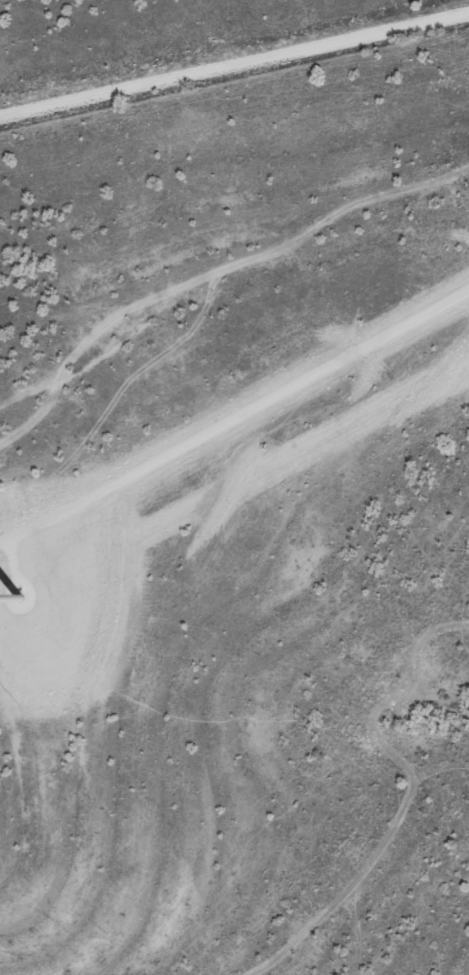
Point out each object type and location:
road: (234, 65)
road: (235, 419)
wind turbine: (20, 599)

